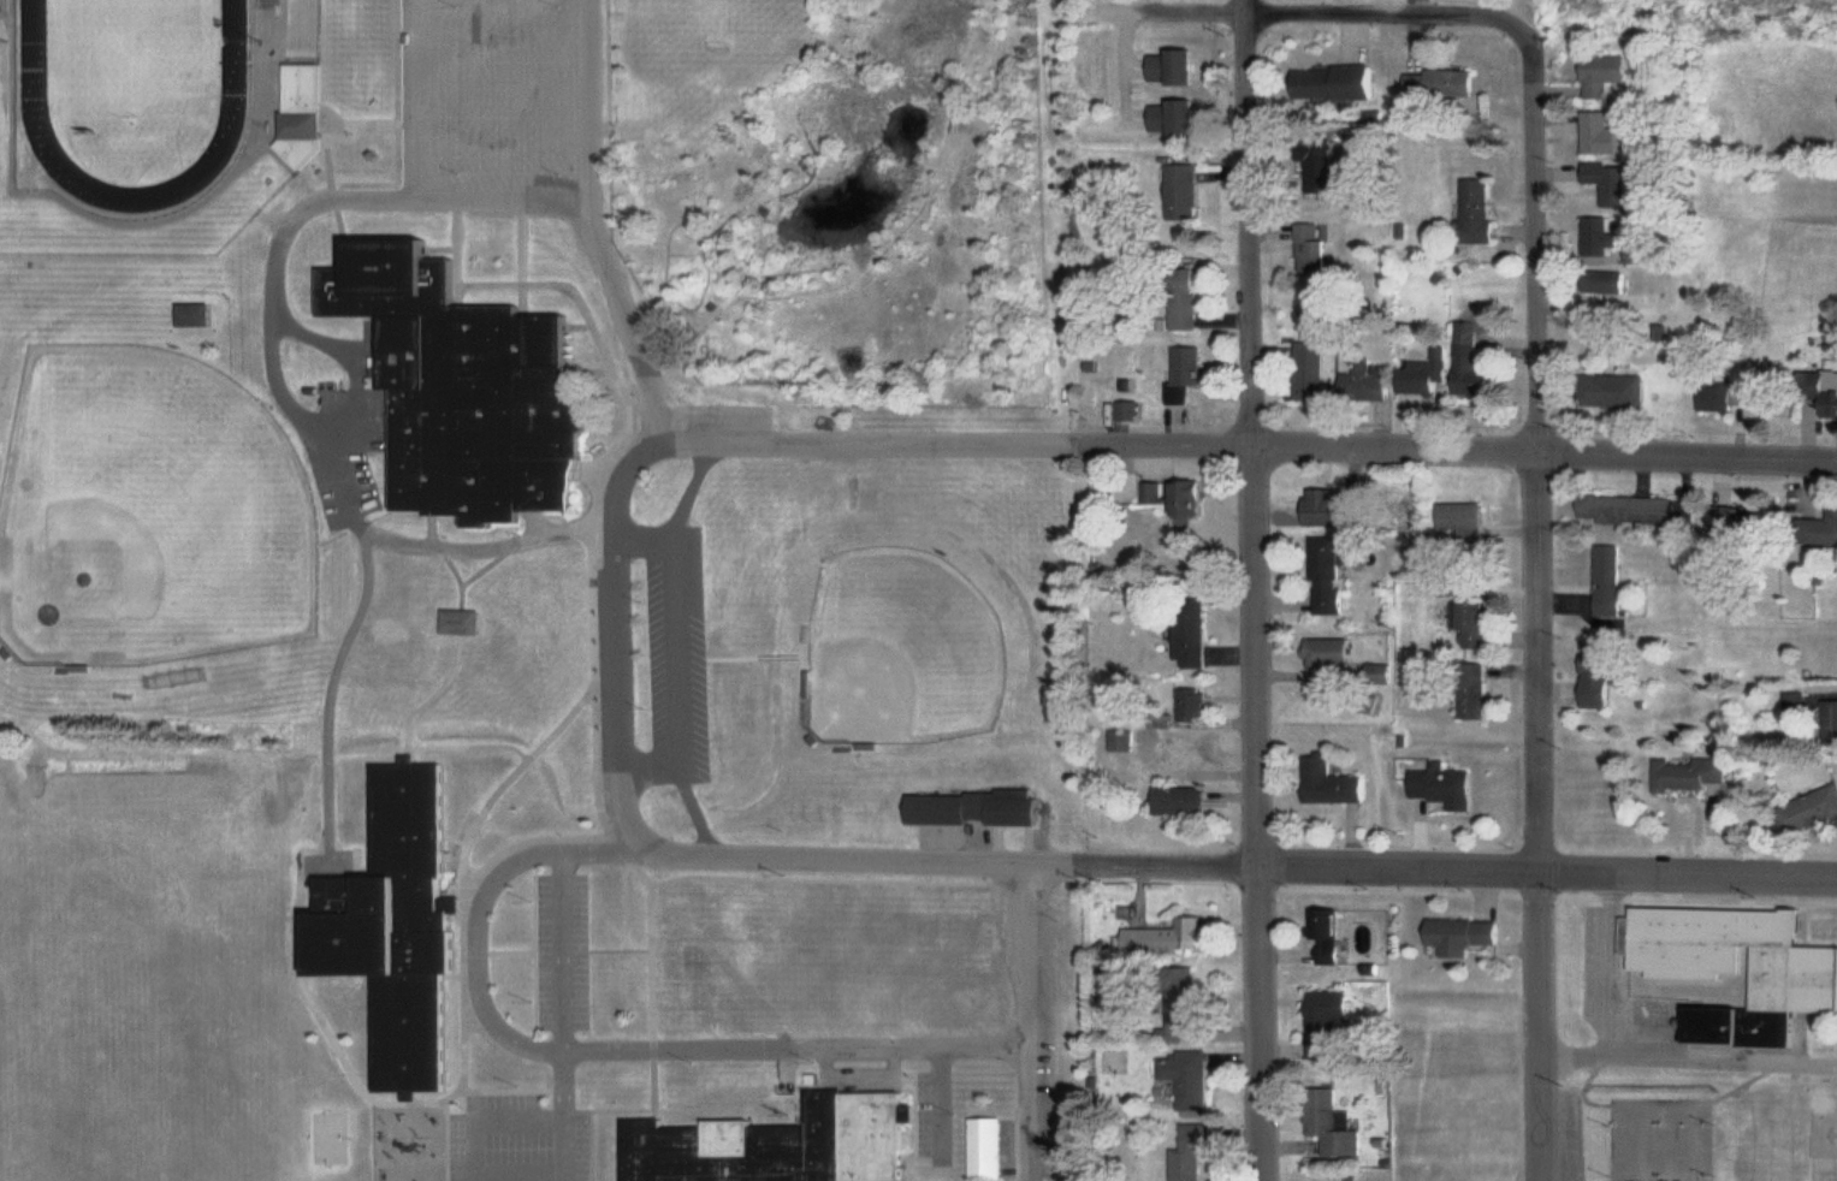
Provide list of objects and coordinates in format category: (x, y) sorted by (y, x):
building: (2, 1)
road: (1311, 10)
park: (136, 60)
building: (1177, 66)
building: (1606, 75)
building: (1340, 83)
building: (1445, 85)
track: (36, 108)
building: (308, 111)
building: (1178, 118)
building: (1605, 132)
building: (1321, 165)
building: (1612, 180)
building: (1186, 191)
building: (1481, 209)
building: (1605, 235)
building: (1316, 248)
building: (1643, 253)
building: (1611, 279)
building: (1189, 296)
building: (197, 314)
building: (1476, 358)
building: (1314, 369)
building: (1189, 370)
building: (1424, 375)
building: (1370, 380)
building: (468, 386)
building: (1616, 390)
building: (1819, 393)
building: (1726, 396)
road: (1232, 439)
building: (1193, 498)
building: (1328, 506)
park: (152, 509)
building: (1631, 509)
building: (1465, 516)
building: (1827, 529)
building: (1333, 576)
building: (1611, 580)
road: (1256, 590)
road: (1539, 604)
building: (464, 621)
building: (1482, 625)
road: (620, 646)
building: (1197, 648)
park: (905, 649)
building: (1333, 651)
building: (1601, 678)
building: (1476, 690)
building: (1796, 702)
building: (1195, 706)
building: (1831, 722)
building: (1196, 752)
building: (1689, 775)
building: (1335, 783)
building: (1450, 785)
building: (1185, 801)
building: (979, 808)
building: (1813, 812)
road: (1232, 862)
building: (401, 927)
building: (1466, 933)
building: (1178, 936)
building: (1333, 936)
building: (1738, 965)
road: (1030, 1021)
building: (1332, 1023)
road: (1688, 1050)
building: (1192, 1076)
building: (1334, 1122)
building: (783, 1144)
building: (991, 1147)
building: (1195, 1151)

